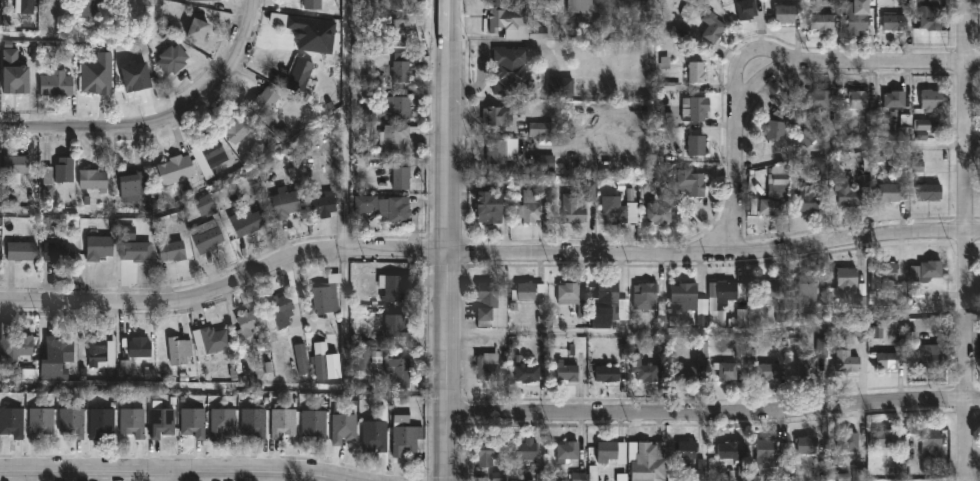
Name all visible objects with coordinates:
building: (210, 2)
building: (312, 4)
building: (390, 4)
building: (579, 5)
building: (89, 8)
building: (747, 9)
building: (26, 11)
building: (785, 13)
building: (859, 16)
building: (931, 18)
building: (822, 21)
building: (895, 22)
building: (513, 24)
building: (712, 27)
building: (393, 30)
building: (198, 31)
road: (743, 54)
building: (172, 58)
road: (869, 61)
road: (234, 66)
building: (400, 67)
building: (510, 71)
building: (696, 71)
building: (13, 72)
building: (97, 73)
building: (302, 75)
building: (56, 83)
building: (560, 88)
building: (895, 98)
building: (819, 99)
building: (858, 99)
building: (930, 99)
building: (265, 101)
building: (398, 104)
building: (693, 108)
building: (502, 113)
road: (450, 126)
building: (926, 126)
building: (906, 128)
building: (238, 129)
building: (544, 129)
road: (92, 130)
building: (776, 130)
building: (396, 136)
building: (697, 145)
road: (974, 148)
building: (213, 151)
building: (496, 152)
road: (735, 159)
building: (15, 164)
building: (176, 168)
building: (820, 168)
building: (64, 169)
building: (400, 175)
road: (236, 178)
building: (93, 179)
building: (780, 180)
road: (349, 181)
building: (132, 186)
building: (683, 187)
building: (930, 191)
building: (893, 192)
building: (847, 193)
building: (807, 199)
building: (285, 203)
building: (323, 203)
building: (366, 204)
building: (535, 204)
building: (206, 205)
building: (490, 207)
building: (771, 207)
building: (394, 209)
building: (573, 209)
building: (620, 210)
building: (659, 214)
building: (247, 222)
building: (207, 239)
road: (968, 240)
building: (98, 247)
building: (135, 250)
building: (171, 250)
building: (21, 251)
building: (57, 251)
road: (716, 253)
building: (931, 270)
building: (883, 275)
building: (843, 282)
building: (393, 286)
road: (227, 288)
building: (766, 289)
building: (805, 290)
building: (527, 291)
building: (726, 293)
building: (645, 296)
building: (896, 296)
building: (326, 297)
building: (574, 298)
building: (613, 300)
building: (689, 300)
building: (492, 304)
building: (281, 308)
building: (247, 325)
building: (395, 325)
road: (715, 335)
building: (210, 339)
building: (139, 347)
building: (16, 348)
building: (179, 350)
building: (100, 356)
building: (928, 356)
building: (55, 357)
building: (888, 360)
building: (847, 362)
road: (451, 366)
building: (485, 366)
building: (808, 366)
building: (644, 369)
building: (769, 370)
building: (398, 371)
building: (726, 371)
building: (527, 372)
building: (567, 372)
building: (686, 372)
building: (606, 373)
road: (715, 416)
building: (193, 420)
building: (160, 421)
building: (254, 421)
building: (283, 421)
building: (12, 422)
building: (40, 422)
building: (70, 422)
building: (100, 422)
building: (131, 422)
building: (223, 422)
building: (314, 424)
building: (343, 428)
building: (406, 434)
building: (374, 436)
building: (848, 440)
building: (892, 443)
building: (932, 443)
building: (807, 445)
building: (527, 450)
building: (567, 450)
building: (729, 450)
building: (612, 452)
building: (486, 453)
building: (769, 453)
building: (687, 454)
building: (647, 461)
road: (184, 473)
road: (167, 477)
road: (342, 479)

